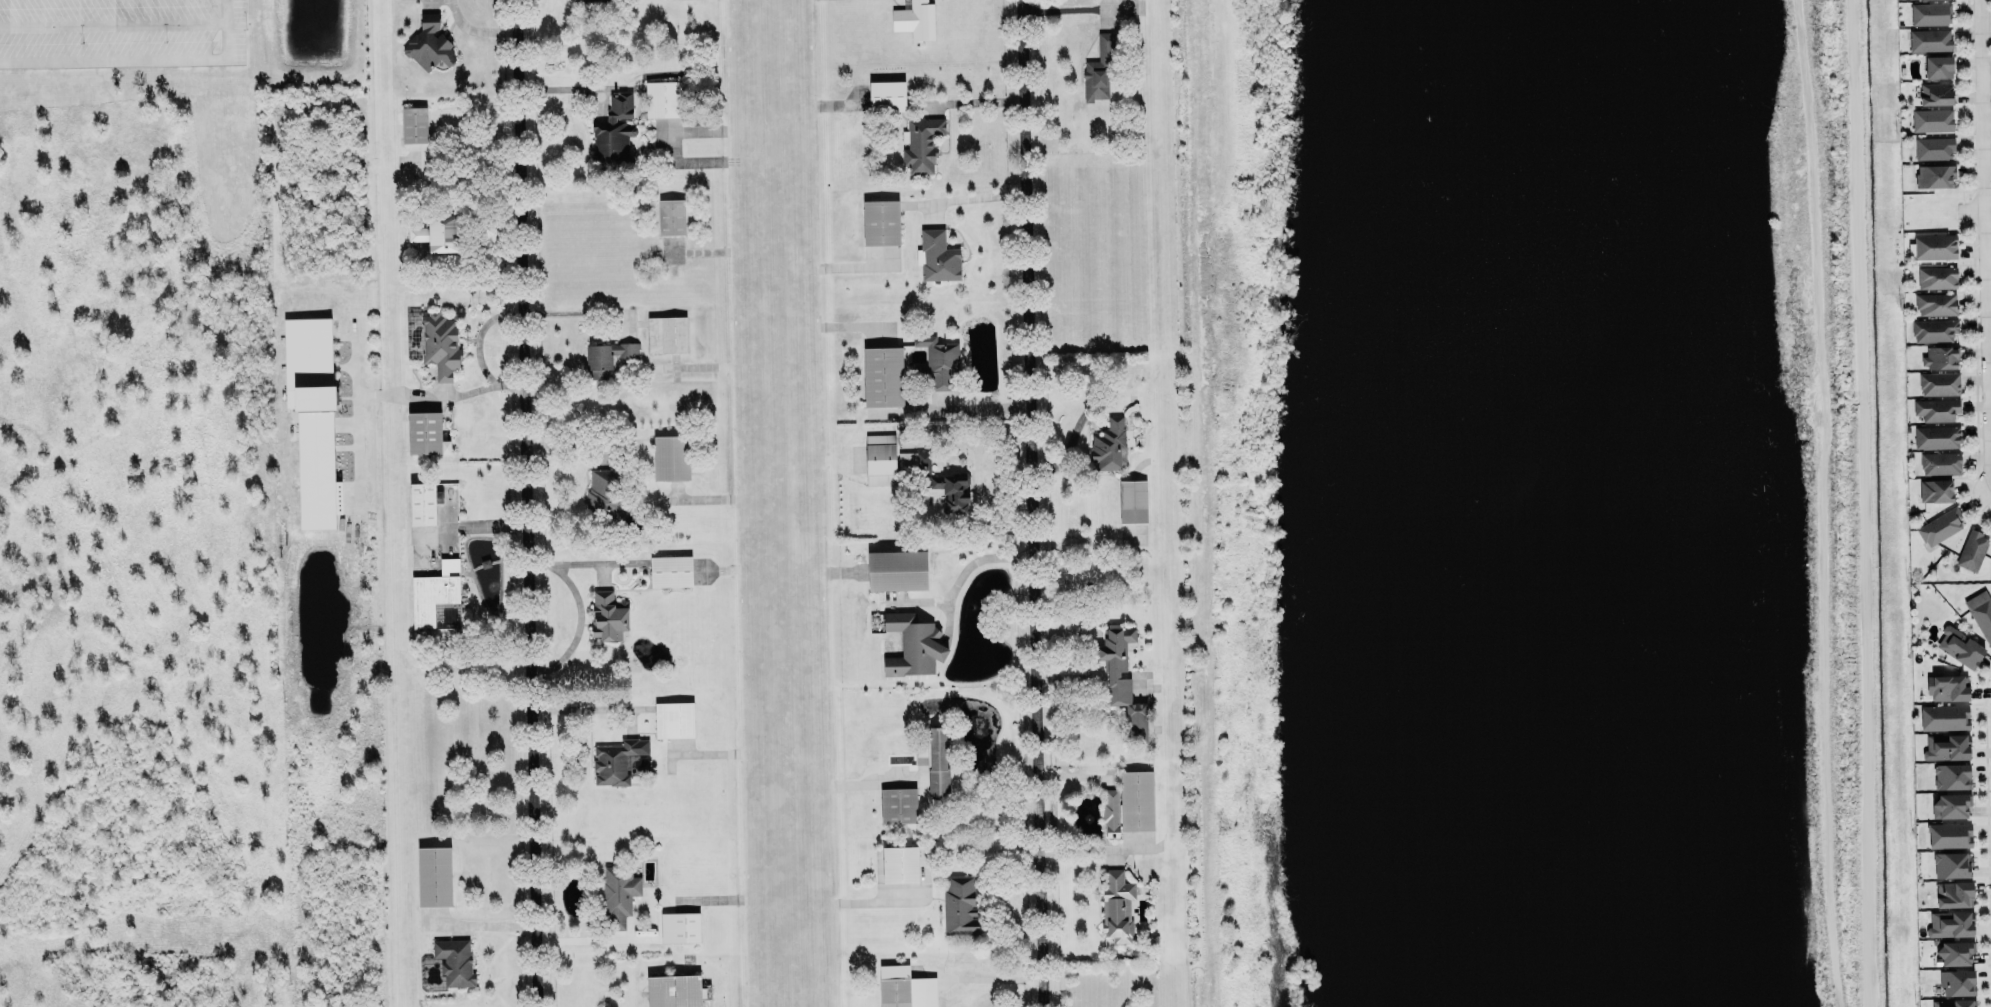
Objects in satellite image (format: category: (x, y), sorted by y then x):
road: (1070, 7)
building: (1931, 12)
building: (914, 19)
road: (112, 23)
road: (477, 31)
parking lot: (123, 32)
building: (1930, 39)
building: (429, 42)
road: (140, 58)
building: (1938, 64)
building: (1100, 68)
road: (1987, 80)
building: (1935, 92)
building: (886, 95)
building: (663, 98)
road: (977, 101)
building: (1932, 119)
building: (413, 124)
building: (614, 131)
building: (920, 143)
building: (1933, 146)
road: (1986, 170)
building: (1934, 175)
road: (978, 197)
road: (1948, 211)
building: (671, 216)
building: (880, 222)
building: (1934, 245)
building: (937, 256)
building: (1936, 277)
building: (1935, 303)
road: (577, 312)
building: (1933, 328)
building: (666, 334)
building: (433, 341)
building: (607, 356)
building: (1940, 356)
building: (937, 361)
building: (882, 376)
building: (1938, 382)
road: (984, 408)
building: (1936, 408)
building: (312, 415)
building: (425, 431)
building: (1937, 436)
building: (1109, 444)
building: (671, 457)
building: (880, 459)
building: (1939, 462)
building: (936, 480)
building: (1935, 490)
building: (603, 491)
airport taxiway: (384, 503)
building: (422, 503)
road: (530, 503)
airport runway: (772, 503)
road: (1035, 503)
building: (1132, 503)
airport taxiway: (1162, 503)
building: (1938, 525)
building: (1972, 549)
road: (978, 561)
building: (670, 570)
building: (897, 570)
building: (430, 596)
building: (1981, 612)
building: (608, 614)
building: (912, 645)
building: (1959, 645)
building: (1122, 680)
building: (1947, 687)
road: (585, 706)
building: (1944, 716)
building: (674, 719)
building: (1946, 746)
building: (616, 760)
building: (938, 760)
building: (1951, 776)
road: (983, 794)
building: (1137, 800)
building: (898, 804)
building: (1950, 805)
building: (1110, 811)
building: (1949, 834)
road: (1077, 847)
building: (899, 863)
building: (1951, 864)
building: (434, 876)
building: (1953, 893)
building: (618, 894)
building: (959, 905)
building: (1117, 905)
building: (1950, 923)
building: (679, 926)
building: (1955, 952)
building: (454, 961)
road: (982, 979)
building: (1957, 981)
building: (905, 988)
building: (673, 990)
building: (1954, 1003)

